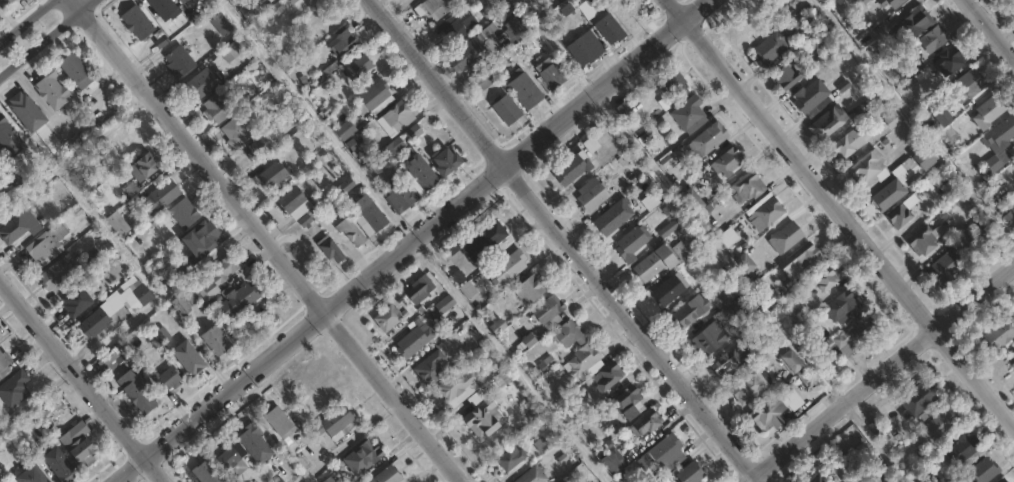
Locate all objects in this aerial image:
building: (181, 1)
building: (291, 1)
building: (4, 3)
building: (867, 3)
building: (891, 3)
building: (1011, 4)
building: (437, 7)
building: (162, 9)
building: (247, 10)
road: (25, 20)
building: (220, 23)
building: (136, 24)
building: (912, 26)
building: (454, 27)
building: (514, 28)
road: (990, 28)
building: (608, 30)
building: (933, 39)
road: (49, 40)
building: (776, 40)
building: (340, 42)
building: (584, 50)
building: (230, 52)
building: (465, 56)
building: (823, 58)
building: (177, 61)
building: (948, 61)
building: (357, 67)
building: (73, 69)
building: (552, 75)
building: (786, 76)
building: (484, 78)
building: (201, 82)
building: (672, 82)
building: (965, 85)
building: (49, 88)
building: (523, 89)
building: (810, 96)
building: (373, 97)
building: (214, 108)
building: (505, 108)
building: (623, 108)
building: (988, 111)
building: (688, 112)
building: (941, 114)
building: (28, 115)
building: (396, 117)
building: (827, 121)
road: (914, 124)
building: (343, 129)
building: (234, 130)
building: (950, 135)
building: (707, 138)
building: (7, 139)
building: (847, 142)
building: (999, 142)
building: (259, 146)
building: (393, 146)
building: (123, 149)
building: (924, 156)
building: (444, 161)
building: (727, 161)
building: (140, 165)
building: (571, 167)
building: (868, 168)
building: (419, 171)
building: (271, 173)
building: (619, 185)
building: (746, 186)
building: (890, 193)
building: (589, 194)
building: (399, 195)
building: (159, 197)
building: (692, 198)
building: (290, 199)
road: (677, 201)
building: (766, 212)
road: (842, 212)
building: (183, 213)
building: (1008, 215)
building: (368, 216)
building: (611, 216)
building: (899, 216)
building: (117, 223)
building: (18, 226)
building: (349, 231)
building: (727, 236)
building: (785, 237)
road: (266, 240)
road: (408, 241)
building: (477, 241)
road: (569, 241)
building: (199, 242)
building: (923, 242)
building: (45, 244)
building: (629, 244)
building: (329, 249)
building: (805, 259)
building: (91, 260)
building: (660, 260)
building: (744, 262)
building: (946, 265)
building: (506, 268)
building: (55, 272)
building: (217, 276)
building: (457, 277)
building: (824, 279)
building: (529, 287)
building: (668, 288)
building: (466, 289)
building: (420, 290)
building: (729, 292)
building: (136, 295)
building: (236, 299)
building: (75, 301)
building: (740, 302)
building: (177, 304)
building: (444, 304)
building: (841, 306)
building: (548, 310)
building: (688, 311)
building: (386, 317)
building: (94, 320)
building: (567, 333)
building: (999, 333)
building: (856, 334)
building: (709, 338)
building: (214, 340)
building: (413, 340)
building: (808, 342)
building: (113, 357)
building: (187, 358)
road: (510, 360)
building: (1011, 360)
building: (790, 361)
building: (583, 362)
building: (730, 362)
building: (4, 363)
building: (546, 363)
building: (429, 368)
road: (878, 371)
building: (607, 375)
road: (82, 379)
building: (164, 379)
building: (457, 385)
building: (749, 385)
building: (13, 388)
building: (135, 393)
building: (919, 397)
road: (36, 398)
building: (792, 399)
building: (628, 402)
building: (767, 413)
building: (482, 418)
building: (278, 422)
building: (941, 422)
building: (333, 423)
building: (646, 423)
building: (878, 429)
building: (71, 434)
building: (552, 435)
road: (347, 442)
road: (873, 442)
building: (243, 447)
building: (79, 451)
building: (963, 451)
building: (662, 454)
building: (362, 456)
building: (509, 458)
building: (613, 460)
building: (57, 464)
building: (916, 468)
building: (981, 471)
building: (205, 472)
building: (689, 473)
building: (30, 475)
building: (385, 475)
building: (530, 475)
building: (812, 478)
building: (937, 478)
building: (328, 479)
building: (1001, 480)
building: (0, 481)
building: (949, 481)

